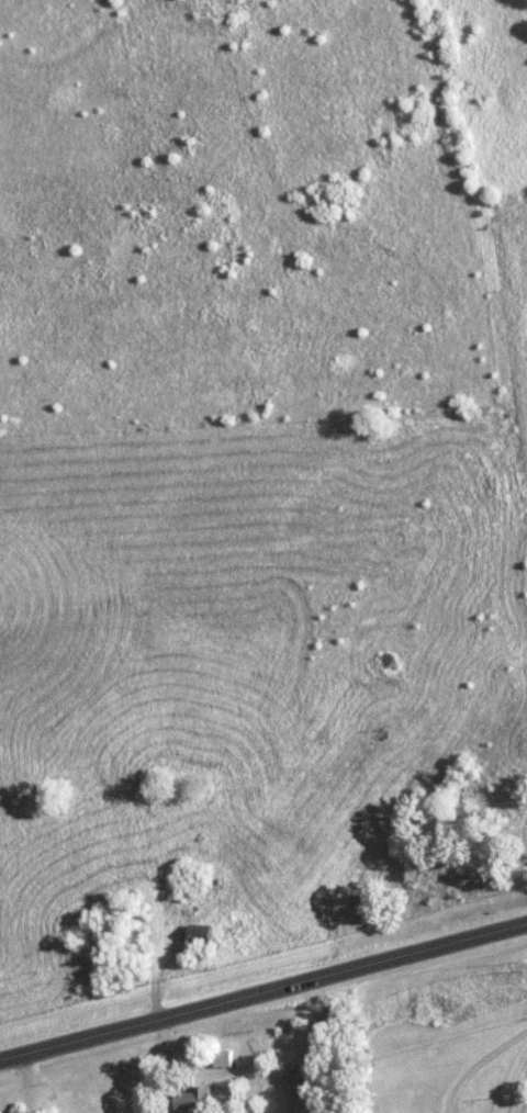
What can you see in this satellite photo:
building: (198, 933)
road: (263, 988)
building: (221, 1058)
building: (190, 1101)

